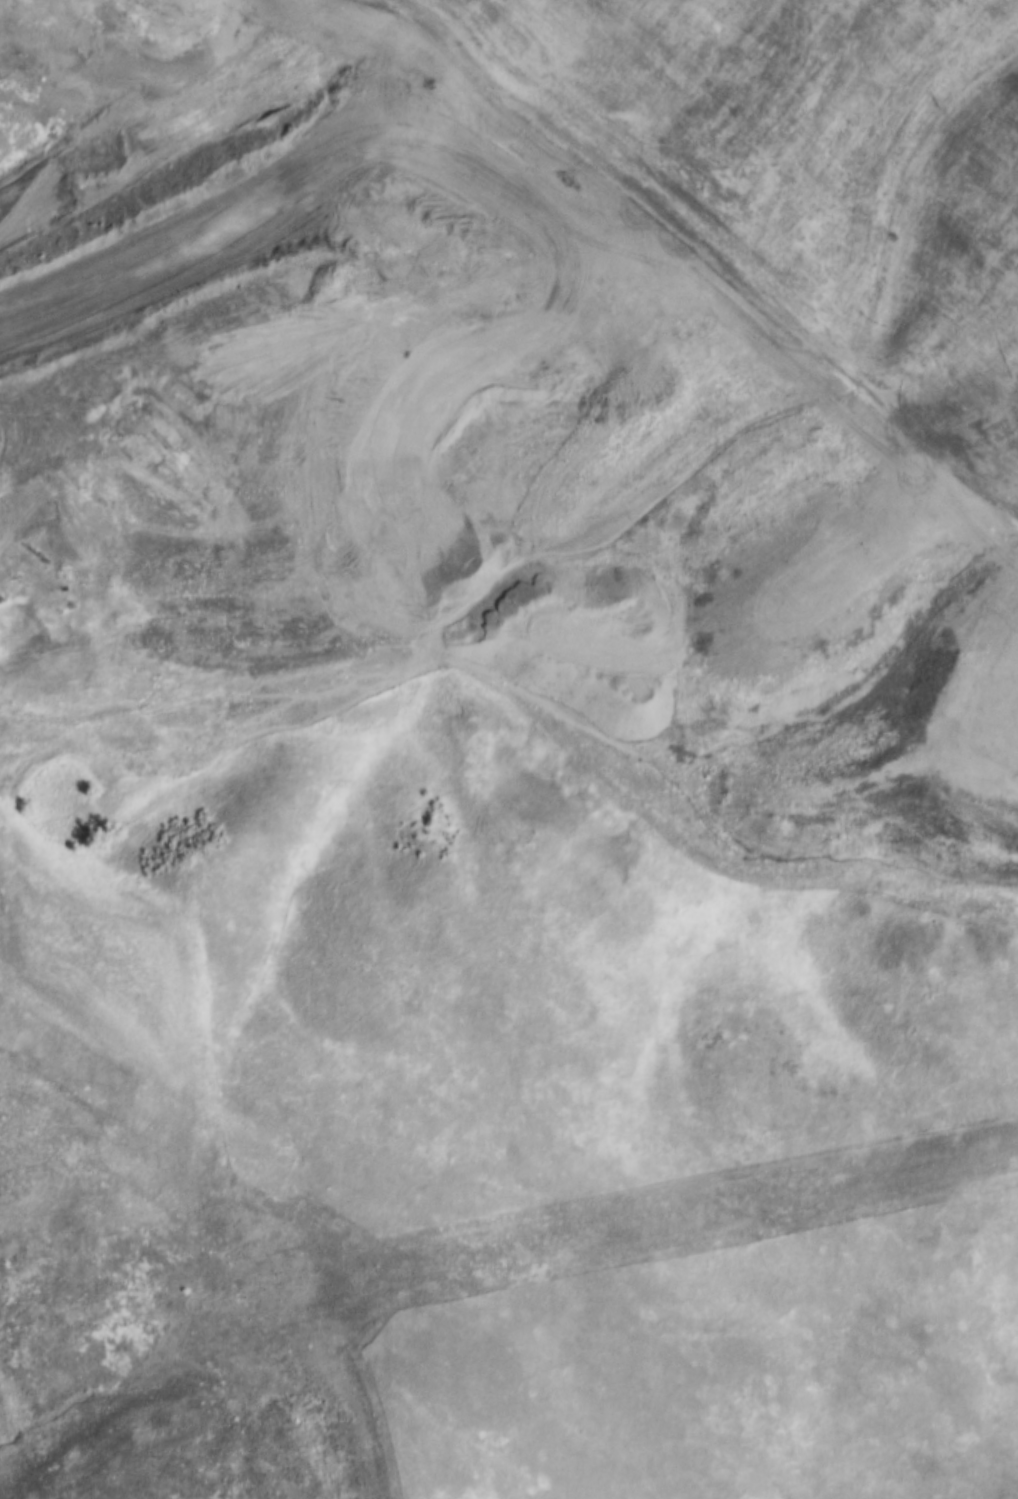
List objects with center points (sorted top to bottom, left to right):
road: (49, 1088)

